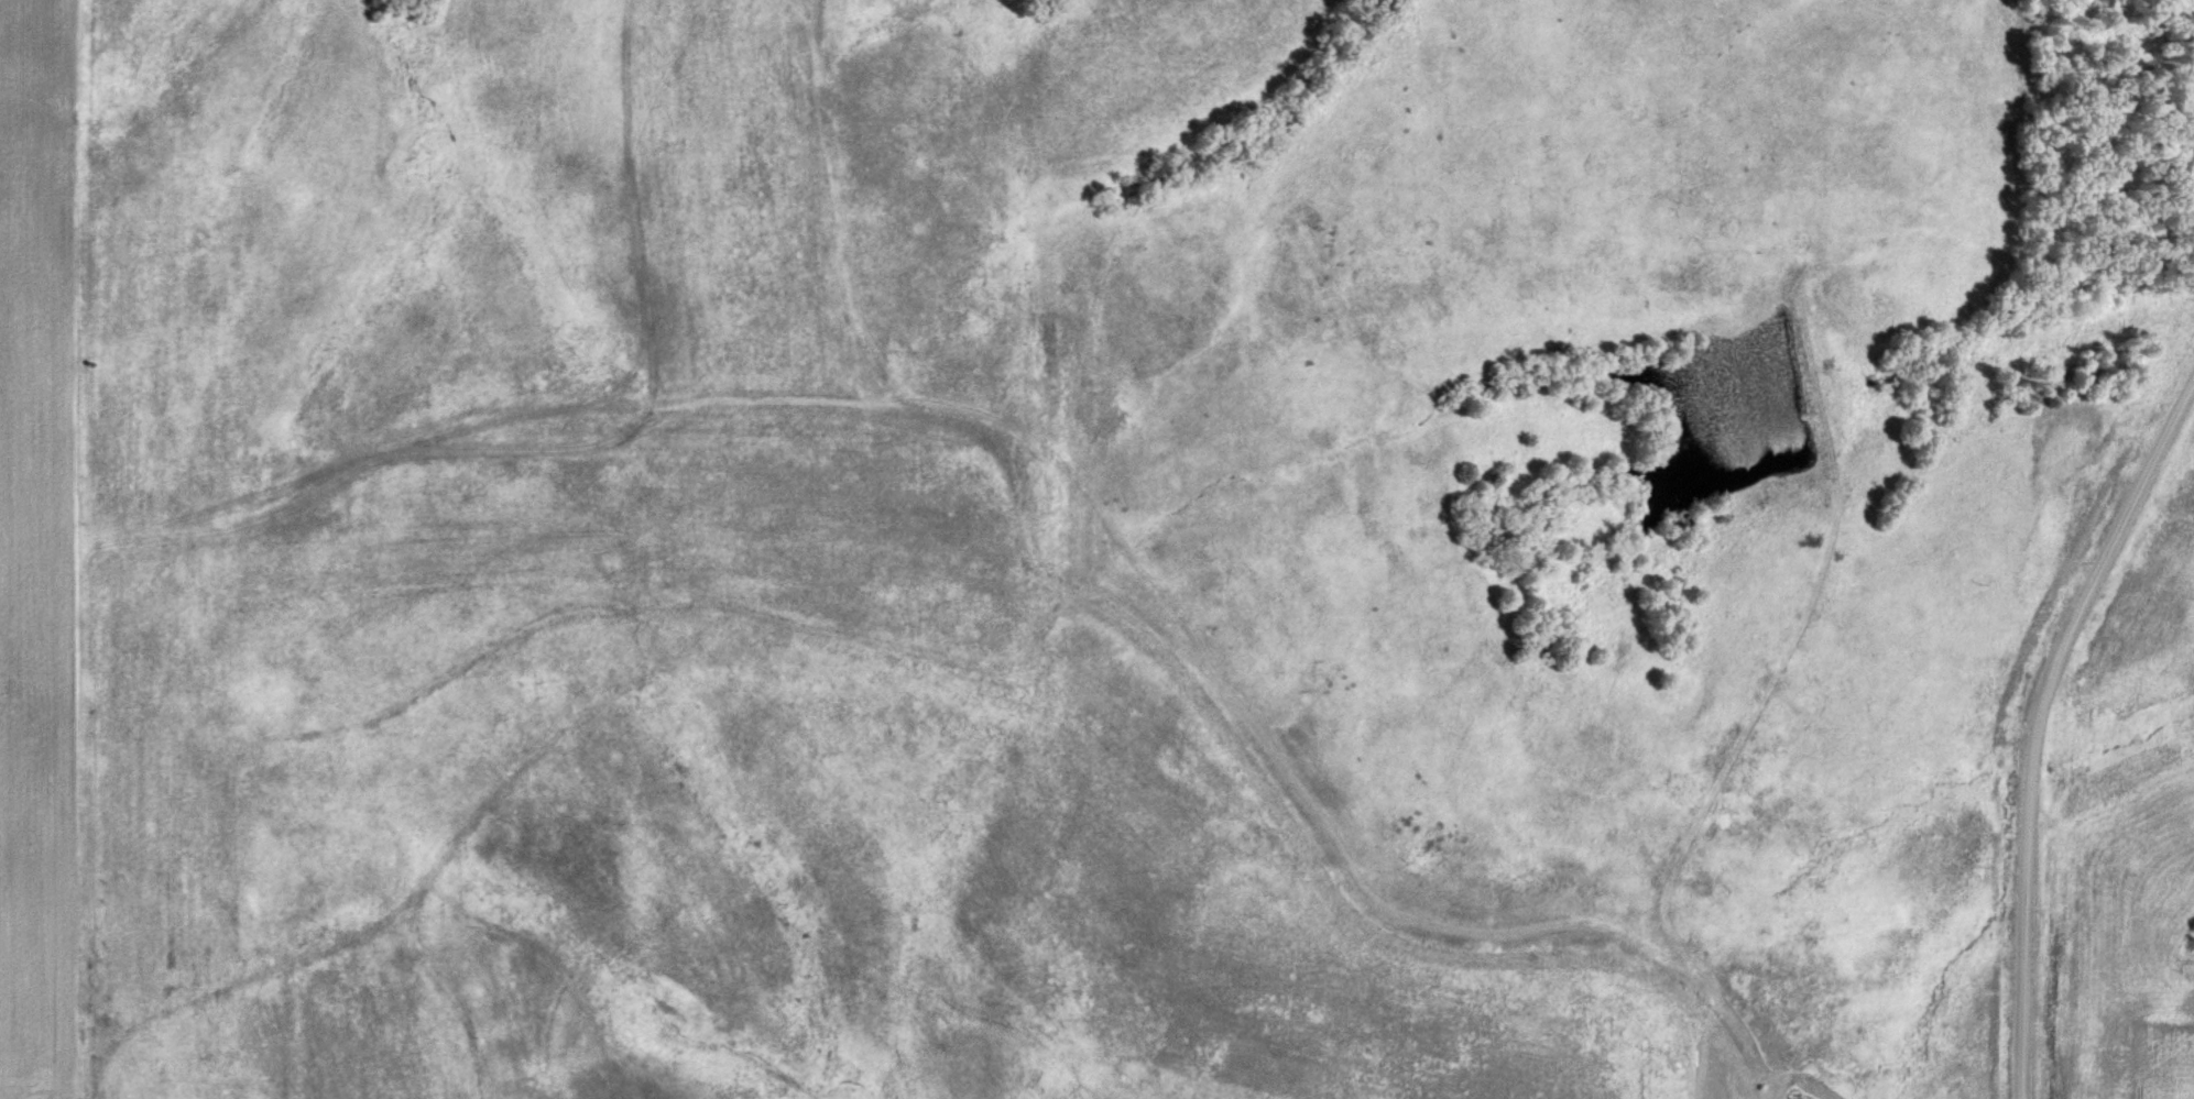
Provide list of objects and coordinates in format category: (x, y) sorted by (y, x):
road: (2037, 723)

